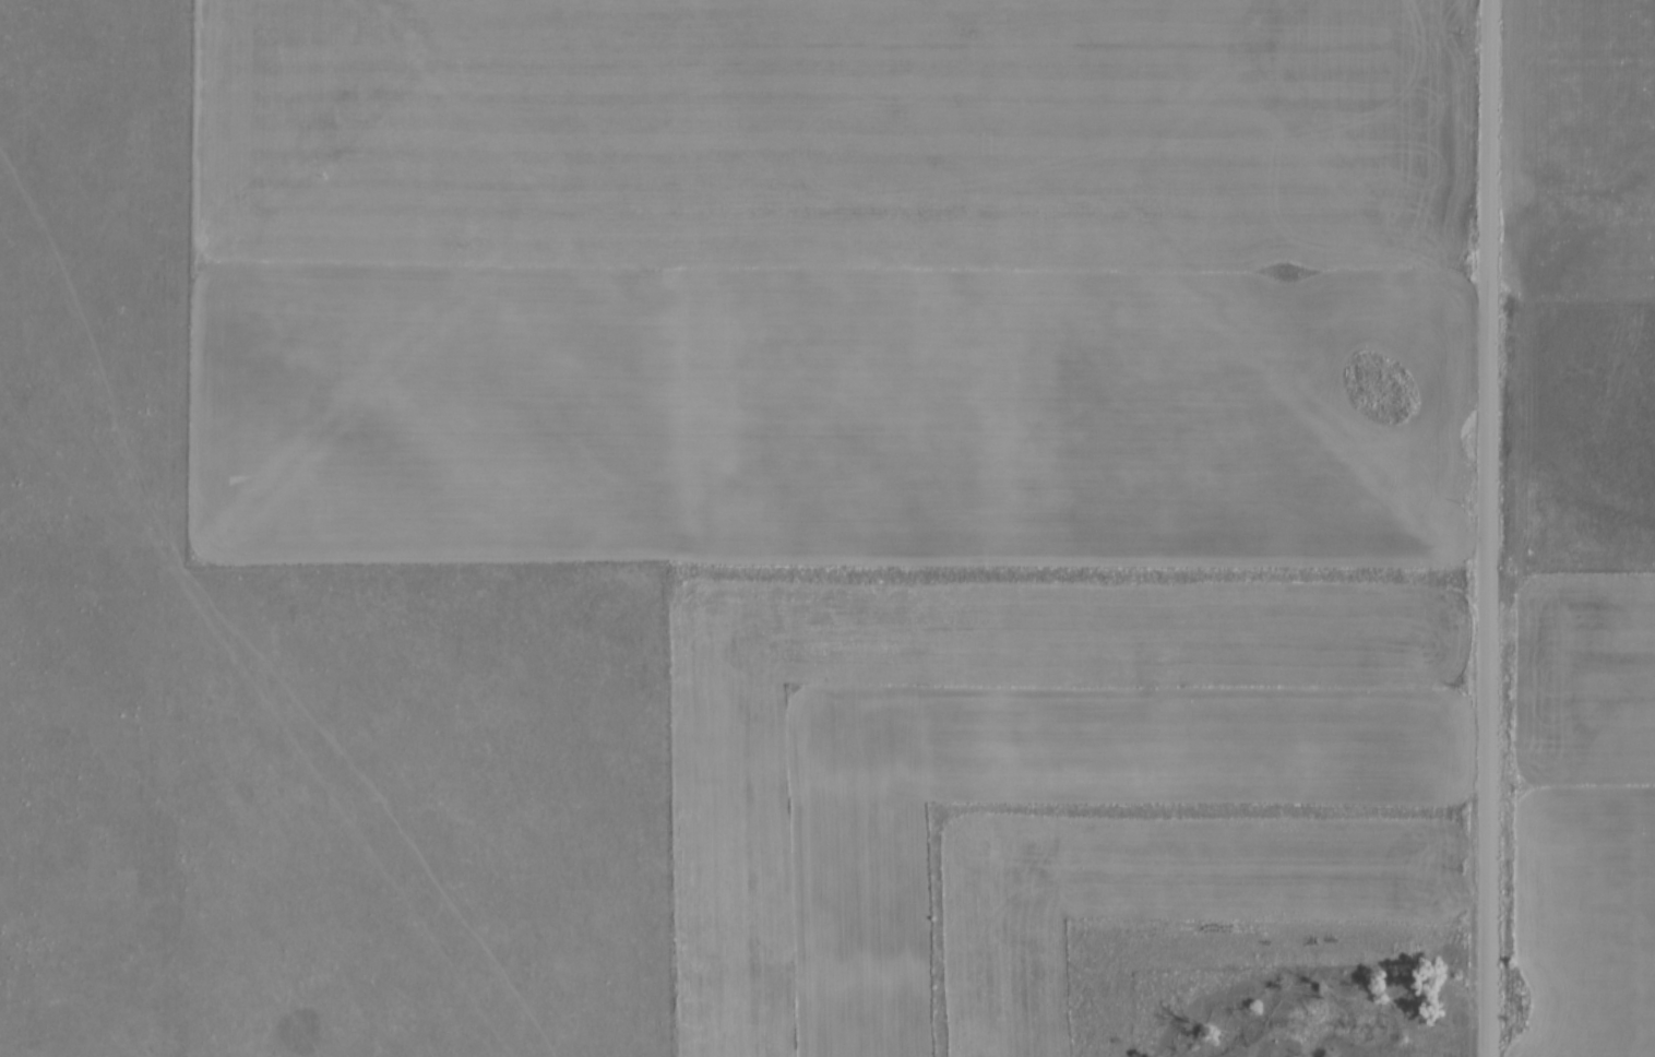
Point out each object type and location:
road: (1486, 528)

